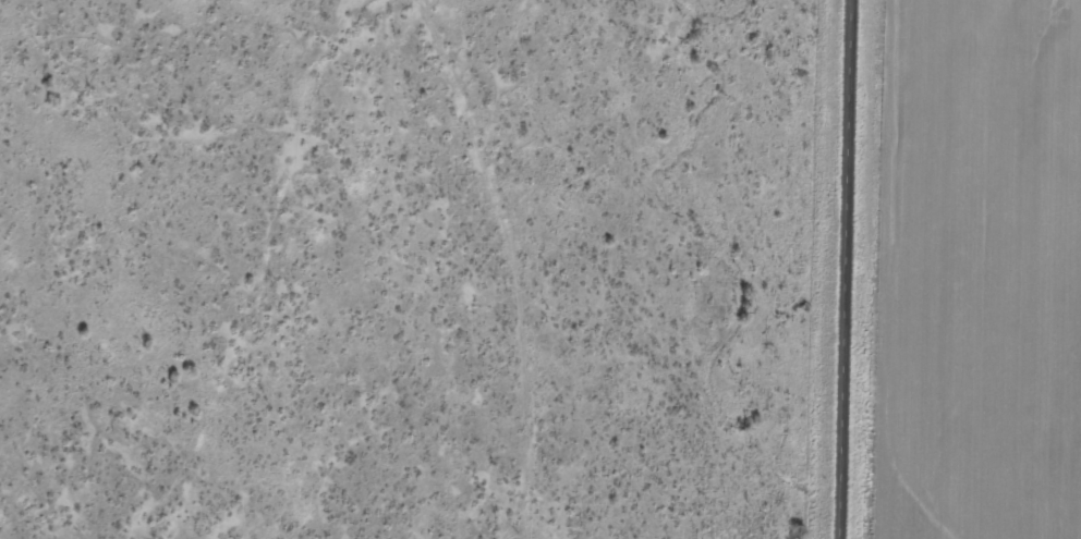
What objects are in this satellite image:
road: (840, 269)

